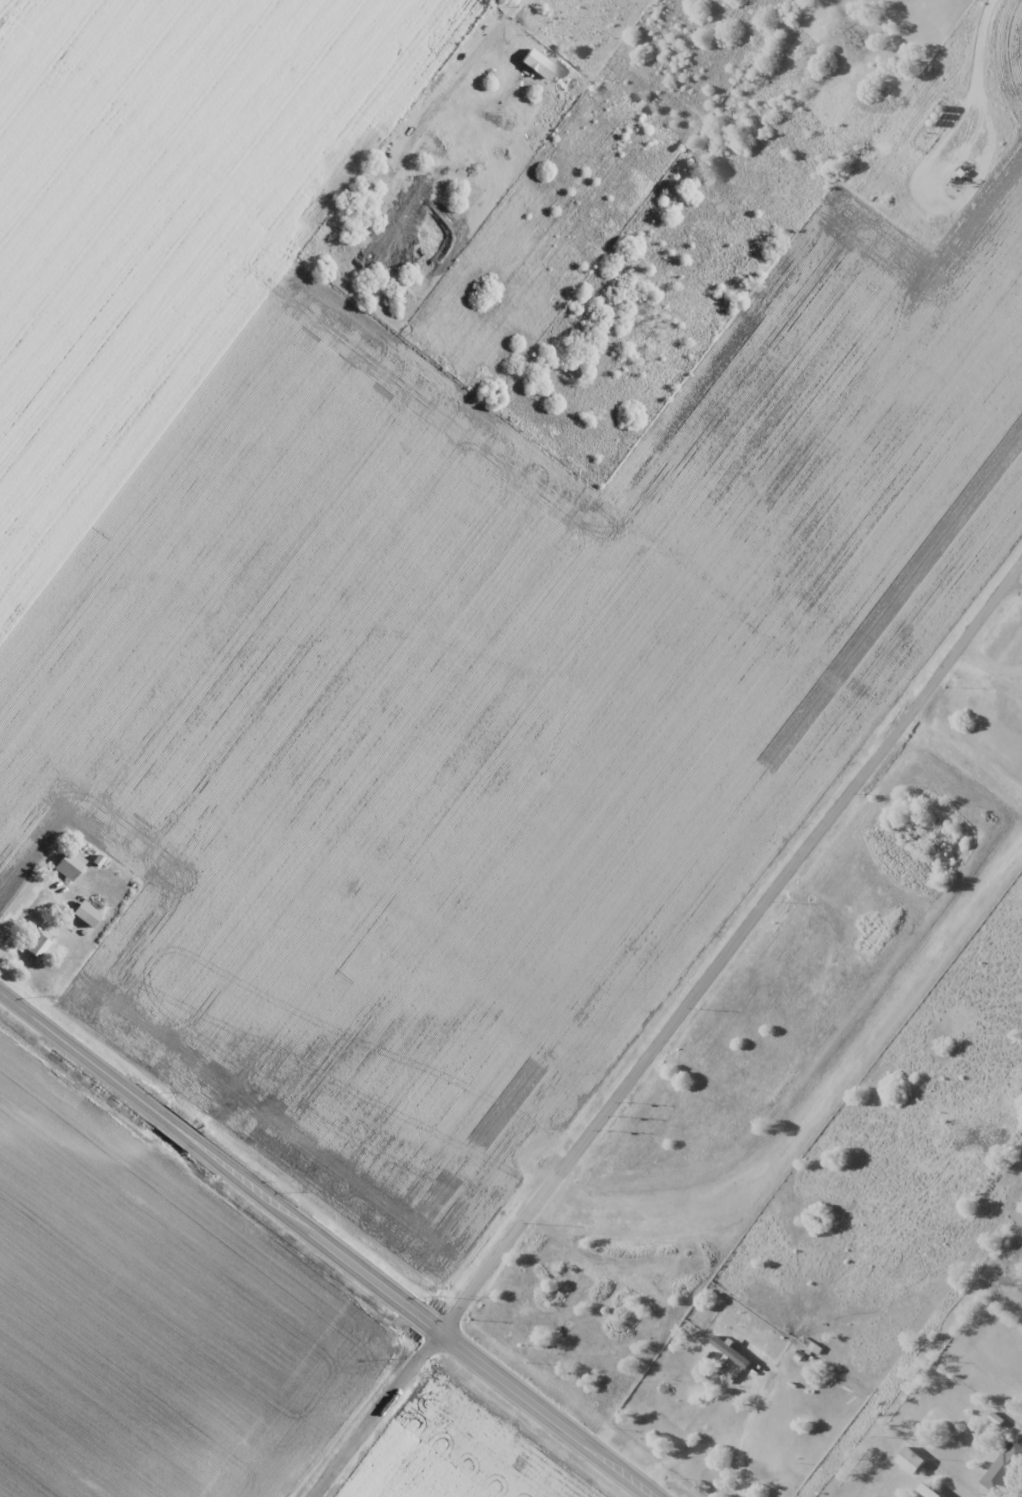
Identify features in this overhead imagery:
building: (68, 865)
building: (85, 914)
building: (38, 943)
road: (669, 1030)
road: (326, 1247)
crop: (152, 1318)
crop: (459, 1453)
building: (911, 1460)
building: (1003, 1468)

